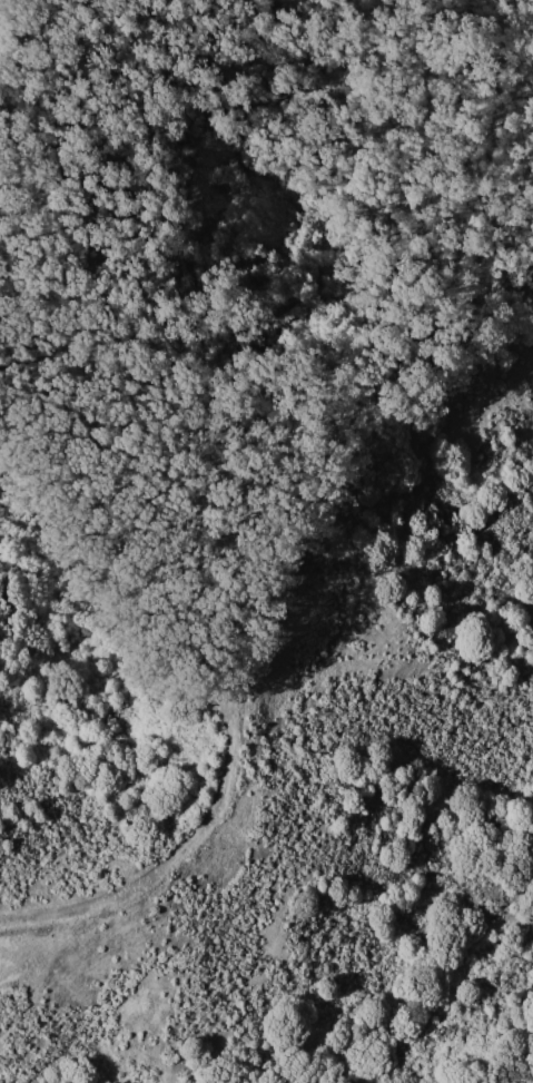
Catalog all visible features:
road: (65, 96)
road: (230, 719)

